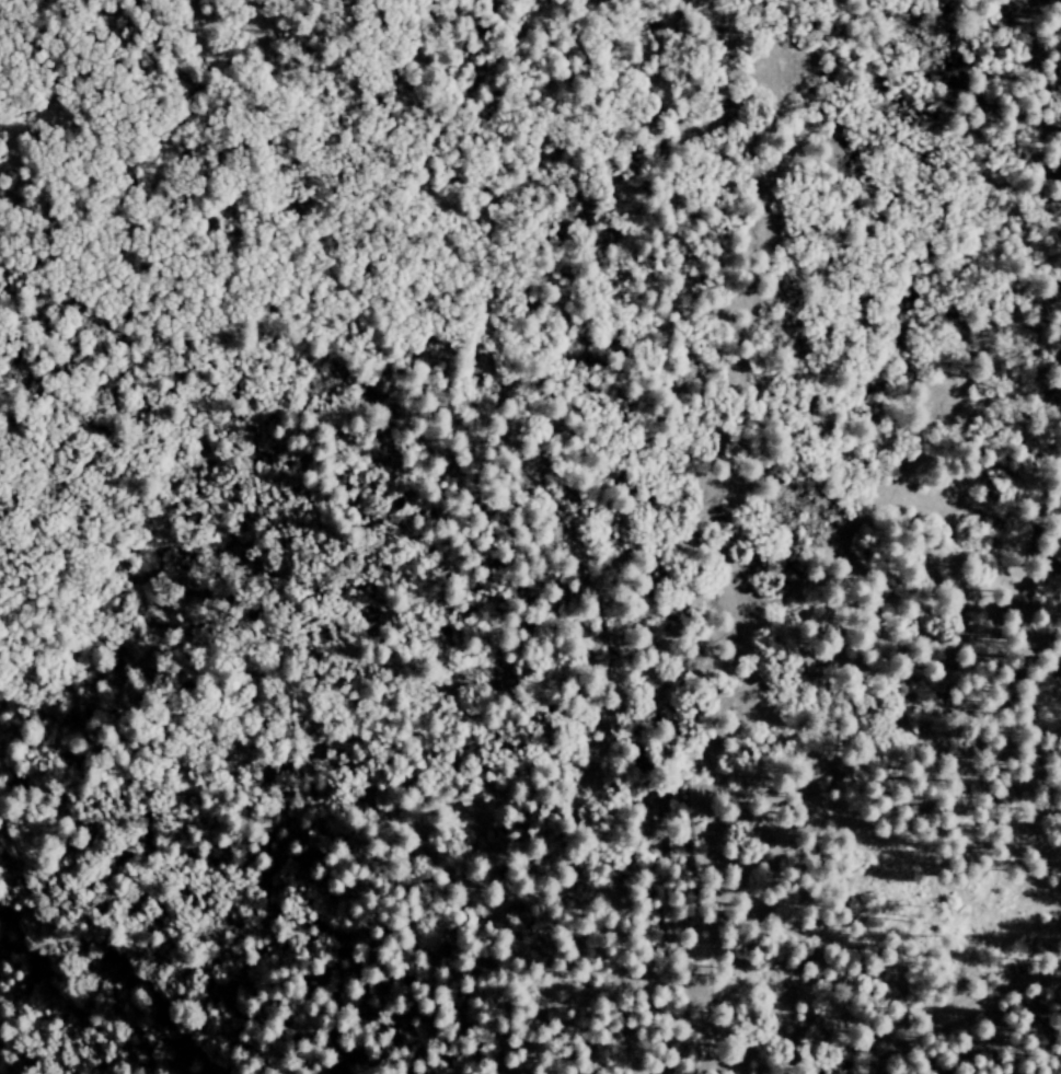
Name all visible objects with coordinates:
road: (1018, 1036)

